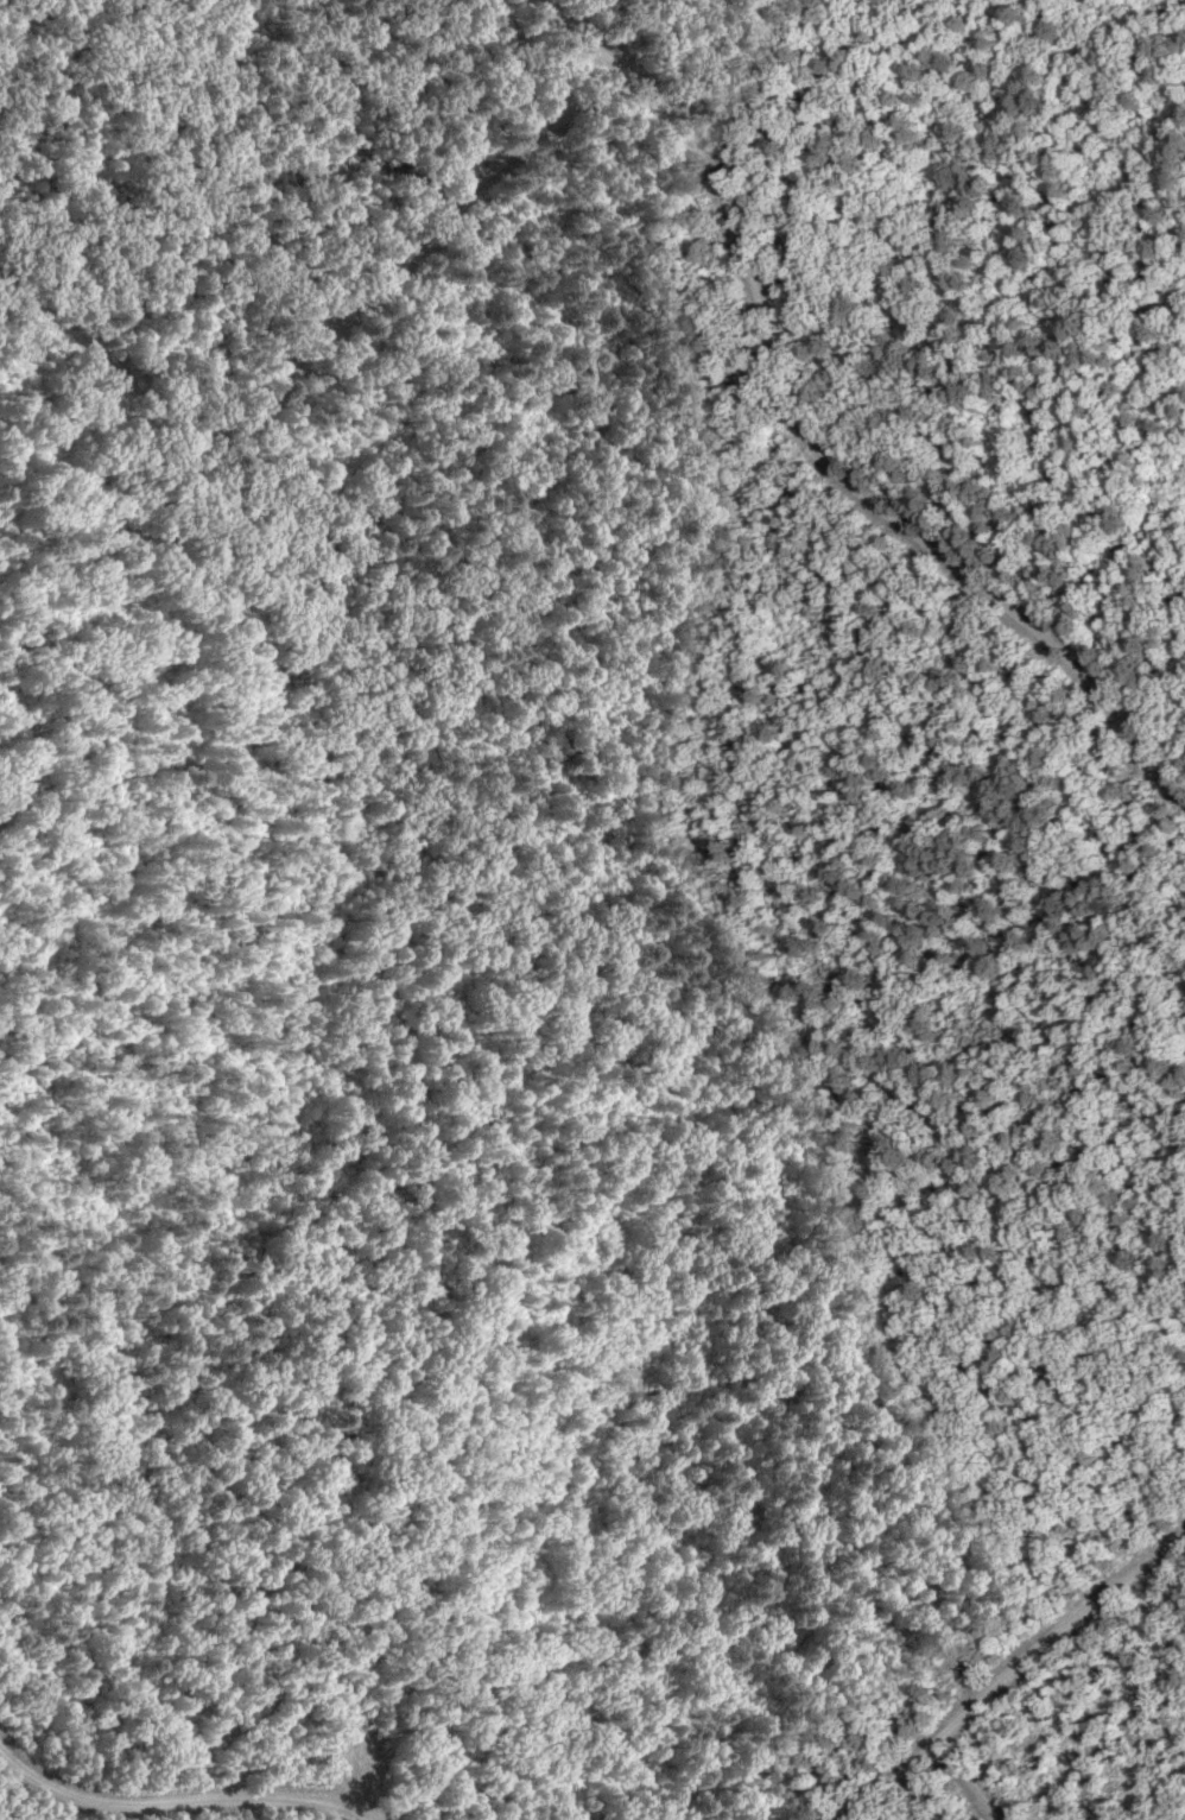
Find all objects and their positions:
road: (804, 434)
road: (1015, 1677)
road: (177, 1802)

